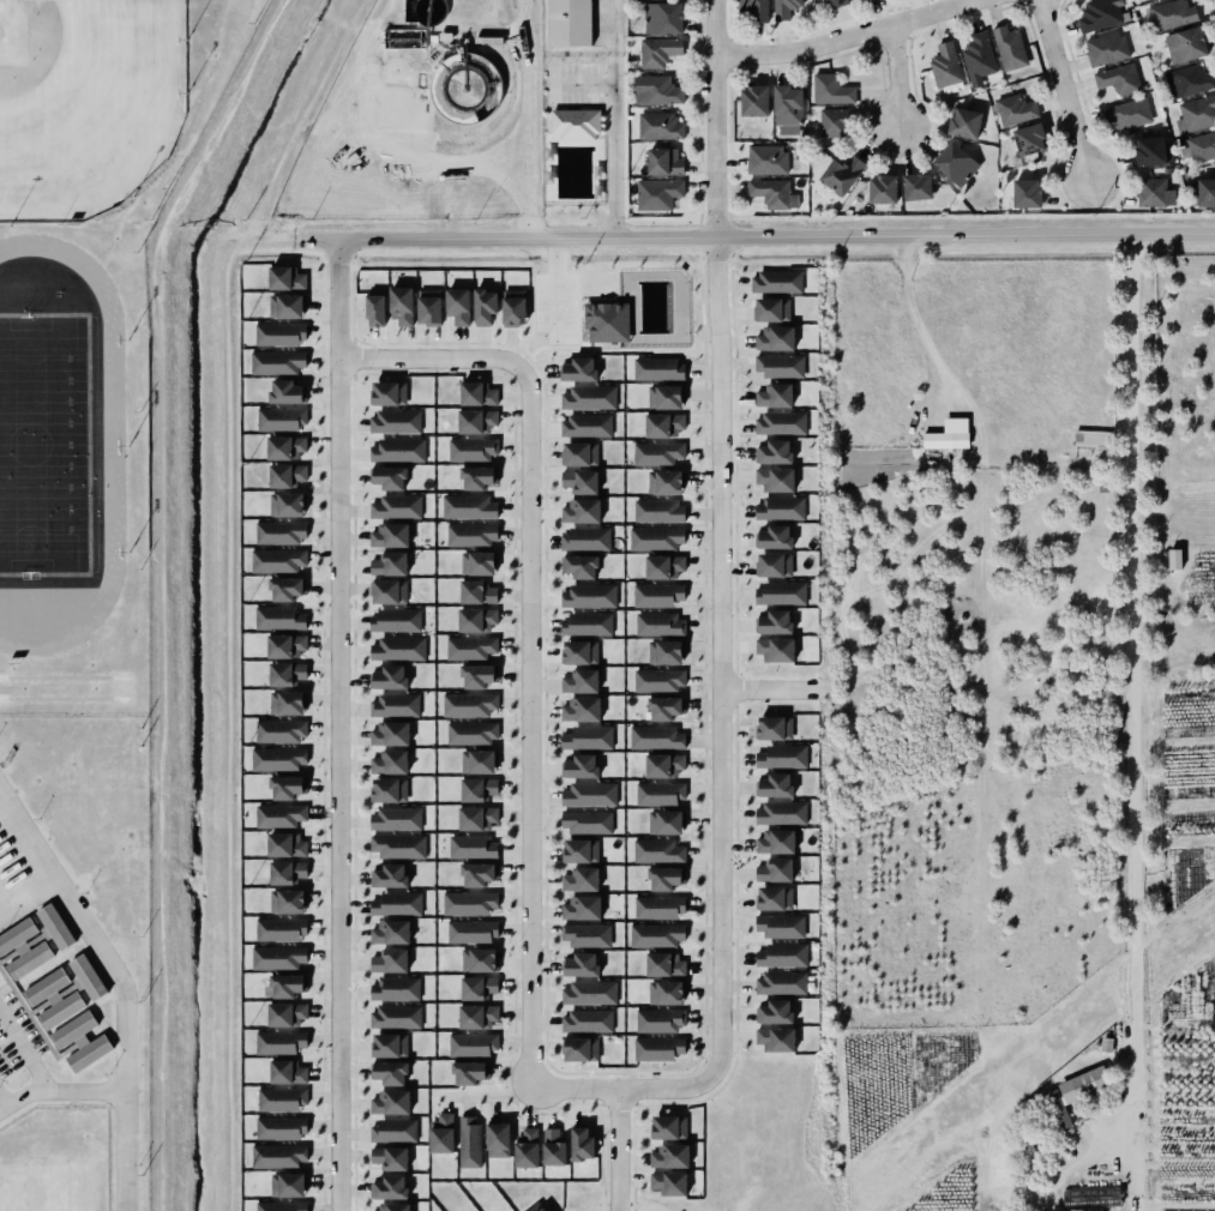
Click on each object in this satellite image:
building: (1148, 0)
building: (836, 2)
building: (786, 8)
building: (756, 10)
building: (1171, 13)
building: (1100, 14)
building: (661, 18)
building: (570, 23)
road: (847, 37)
road: (338, 42)
building: (1186, 46)
building: (1010, 48)
building: (1106, 49)
building: (658, 52)
building: (979, 59)
building: (945, 68)
road: (895, 77)
building: (1118, 78)
building: (1192, 80)
parking lot: (573, 83)
road: (581, 83)
building: (657, 90)
building: (830, 90)
road: (1061, 90)
building: (754, 101)
park: (85, 102)
road: (577, 107)
building: (1013, 109)
building: (788, 110)
building: (1129, 114)
building: (1196, 114)
road: (613, 116)
road: (714, 116)
wastewater plant: (426, 118)
building: (575, 123)
building: (834, 123)
building: (963, 123)
building: (660, 126)
building: (1028, 139)
building: (1201, 146)
building: (1151, 152)
park: (572, 158)
road: (603, 158)
building: (765, 159)
building: (664, 162)
building: (956, 163)
building: (841, 175)
building: (918, 186)
building: (882, 191)
building: (1205, 192)
building: (771, 193)
building: (1027, 193)
building: (1153, 193)
building: (656, 194)
road: (263, 199)
road: (614, 217)
road: (660, 224)
road: (699, 224)
road: (776, 234)
building: (284, 276)
building: (775, 282)
road: (554, 288)
road: (578, 289)
building: (399, 302)
road: (599, 302)
building: (285, 303)
road: (566, 303)
building: (482, 305)
building: (458, 306)
building: (512, 306)
building: (429, 307)
parking lot: (555, 307)
building: (770, 307)
road: (578, 308)
building: (374, 309)
road: (583, 313)
building: (610, 323)
road: (578, 330)
building: (281, 333)
road: (922, 335)
building: (775, 338)
road: (599, 345)
road: (552, 347)
road: (522, 351)
road: (431, 359)
road: (533, 361)
building: (276, 362)
building: (778, 366)
building: (578, 369)
building: (658, 369)
building: (285, 391)
building: (476, 392)
building: (389, 393)
building: (774, 396)
building: (588, 397)
building: (664, 397)
building: (281, 418)
building: (474, 418)
building: (395, 421)
building: (780, 423)
building: (663, 424)
building: (585, 426)
building: (948, 434)
building: (1095, 442)
building: (283, 445)
building: (470, 447)
building: (396, 448)
building: (775, 452)
building: (581, 453)
building: (657, 453)
building: (287, 475)
building: (386, 475)
building: (477, 477)
building: (775, 478)
building: (579, 480)
building: (666, 482)
building: (287, 504)
building: (395, 506)
building: (469, 507)
building: (780, 508)
building: (657, 510)
building: (581, 511)
building: (279, 532)
building: (389, 534)
building: (470, 535)
building: (772, 537)
building: (584, 538)
building: (655, 538)
building: (1174, 559)
building: (276, 560)
building: (477, 561)
building: (387, 562)
building: (775, 565)
building: (581, 566)
building: (663, 566)
building: (287, 589)
building: (389, 591)
building: (780, 591)
building: (477, 592)
building: (657, 595)
building: (589, 596)
building: (277, 616)
building: (476, 619)
building: (395, 620)
building: (585, 622)
building: (774, 622)
building: (660, 625)
building: (285, 645)
building: (470, 647)
building: (398, 649)
building: (776, 650)
building: (578, 651)
building: (666, 652)
road: (718, 655)
building: (285, 673)
building: (475, 674)
building: (386, 675)
building: (658, 680)
building: (578, 681)
road: (775, 691)
building: (285, 701)
building: (468, 703)
building: (393, 705)
building: (664, 706)
building: (581, 709)
road: (1135, 722)
road: (338, 725)
building: (775, 728)
road: (529, 729)
building: (281, 730)
building: (470, 731)
crop: (1021, 731)
building: (389, 733)
building: (587, 736)
building: (656, 736)
building: (781, 755)
building: (277, 759)
building: (479, 761)
building: (390, 763)
building: (663, 764)
building: (581, 766)
building: (285, 785)
building: (774, 785)
building: (479, 789)
building: (390, 790)
building: (589, 793)
building: (660, 793)
building: (780, 812)
building: (277, 814)
building: (395, 817)
building: (476, 818)
building: (585, 821)
building: (666, 823)
building: (775, 842)
building: (284, 844)
building: (397, 844)
building: (470, 845)
building: (578, 849)
building: (657, 850)
building: (285, 870)
building: (775, 870)
building: (476, 873)
building: (389, 876)
building: (579, 878)
building: (666, 878)
building: (774, 898)
building: (285, 900)
building: (467, 902)
building: (396, 903)
building: (581, 906)
building: (660, 906)
building: (54, 926)
building: (780, 926)
building: (282, 929)
building: (473, 930)
building: (389, 933)
building: (584, 935)
building: (656, 935)
building: (24, 947)
building: (781, 954)
building: (279, 958)
building: (479, 958)
building: (390, 960)
building: (581, 965)
building: (666, 965)
building: (86, 976)
road: (122, 982)
building: (285, 983)
building: (781, 983)
building: (476, 986)
building: (395, 987)
building: (664, 990)
building: (588, 992)
building: (54, 998)
building: (775, 1012)
building: (285, 1014)
building: (476, 1014)
building: (395, 1017)
building: (660, 1019)
building: (585, 1020)
building: (775, 1038)
building: (80, 1042)
building: (279, 1043)
building: (391, 1044)
building: (473, 1044)
building: (578, 1047)
building: (657, 1048)
road: (24, 1054)
building: (467, 1071)
building: (287, 1072)
building: (390, 1072)
building: (1084, 1084)
road: (622, 1089)
road: (60, 1092)
road: (486, 1097)
building: (279, 1098)
building: (390, 1101)
road: (1, 1104)
building: (1058, 1109)
building: (669, 1127)
building: (279, 1128)
building: (392, 1129)
building: (440, 1133)
building: (497, 1138)
building: (469, 1141)
building: (582, 1144)
building: (552, 1146)
building: (525, 1147)
road: (616, 1150)
building: (277, 1156)
building: (390, 1156)
building: (669, 1156)
building: (667, 1182)
building: (287, 1183)
building: (387, 1186)
park: (50, 1188)
building: (1091, 1197)
building: (279, 1205)
building: (392, 1206)
building: (541, 1209)

